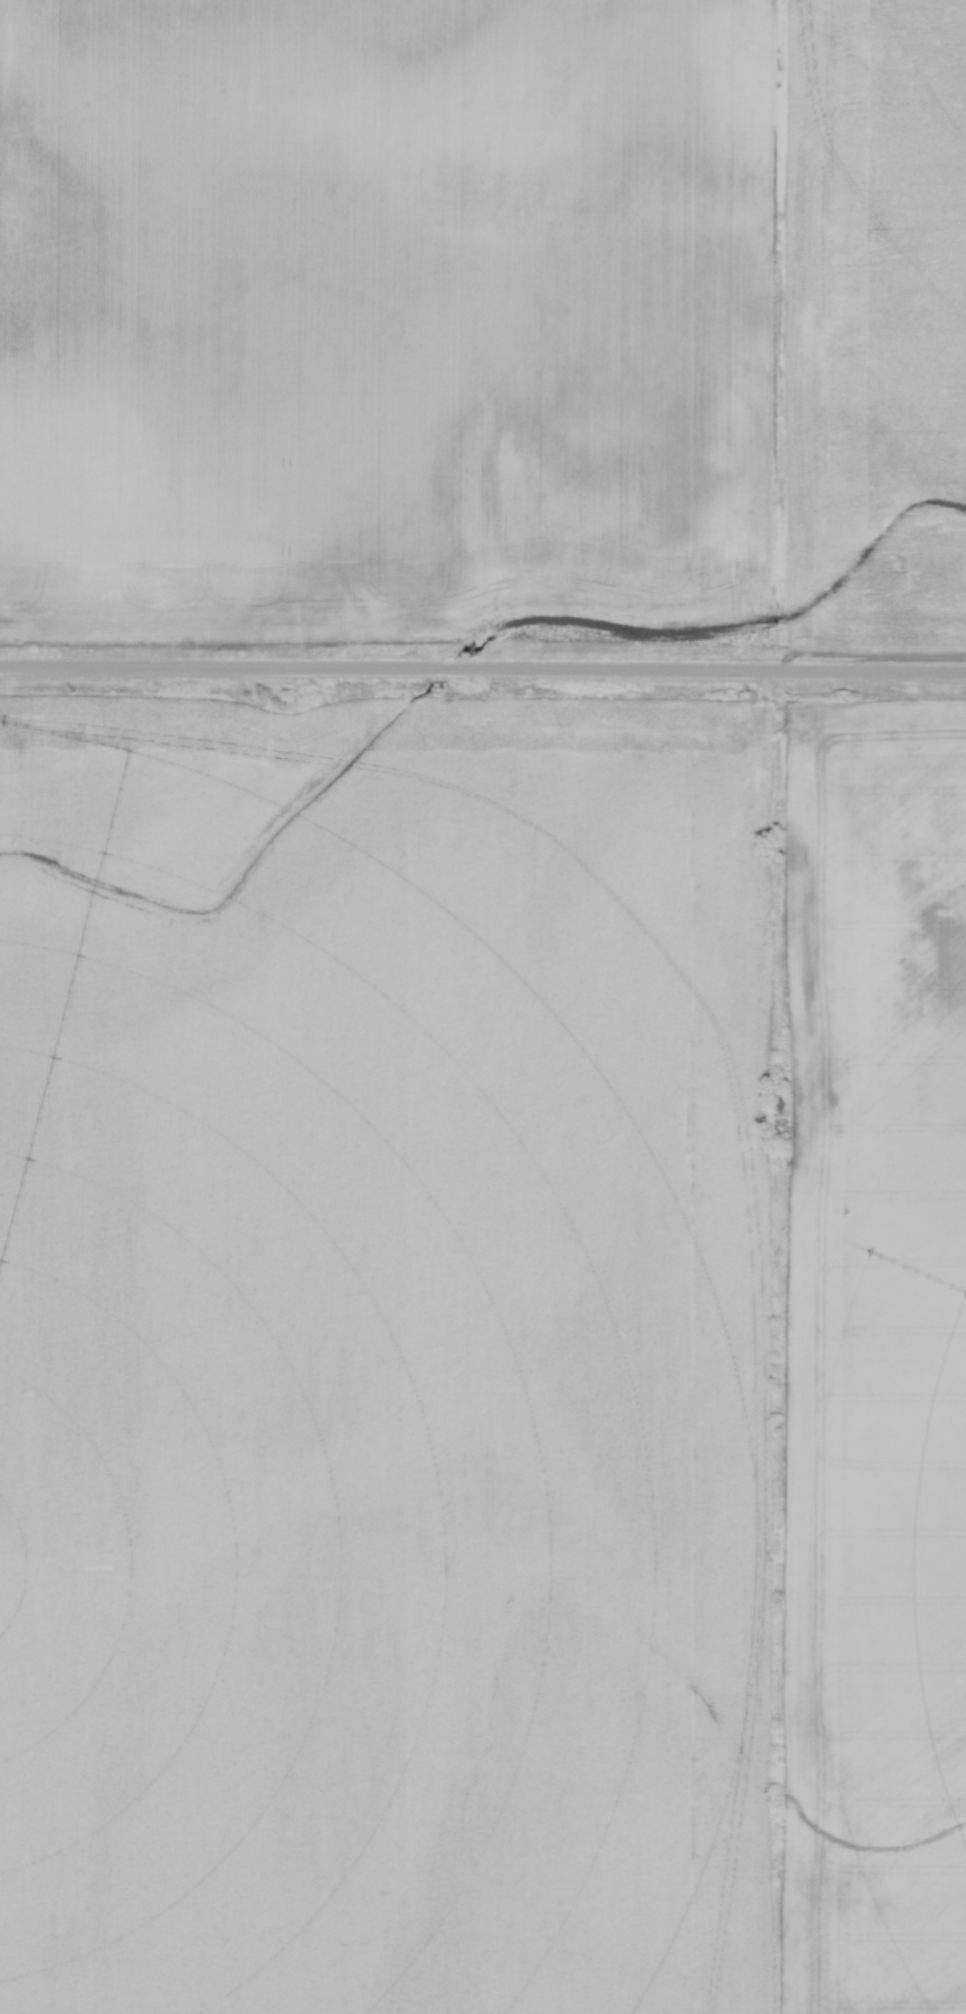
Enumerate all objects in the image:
road: (482, 670)

